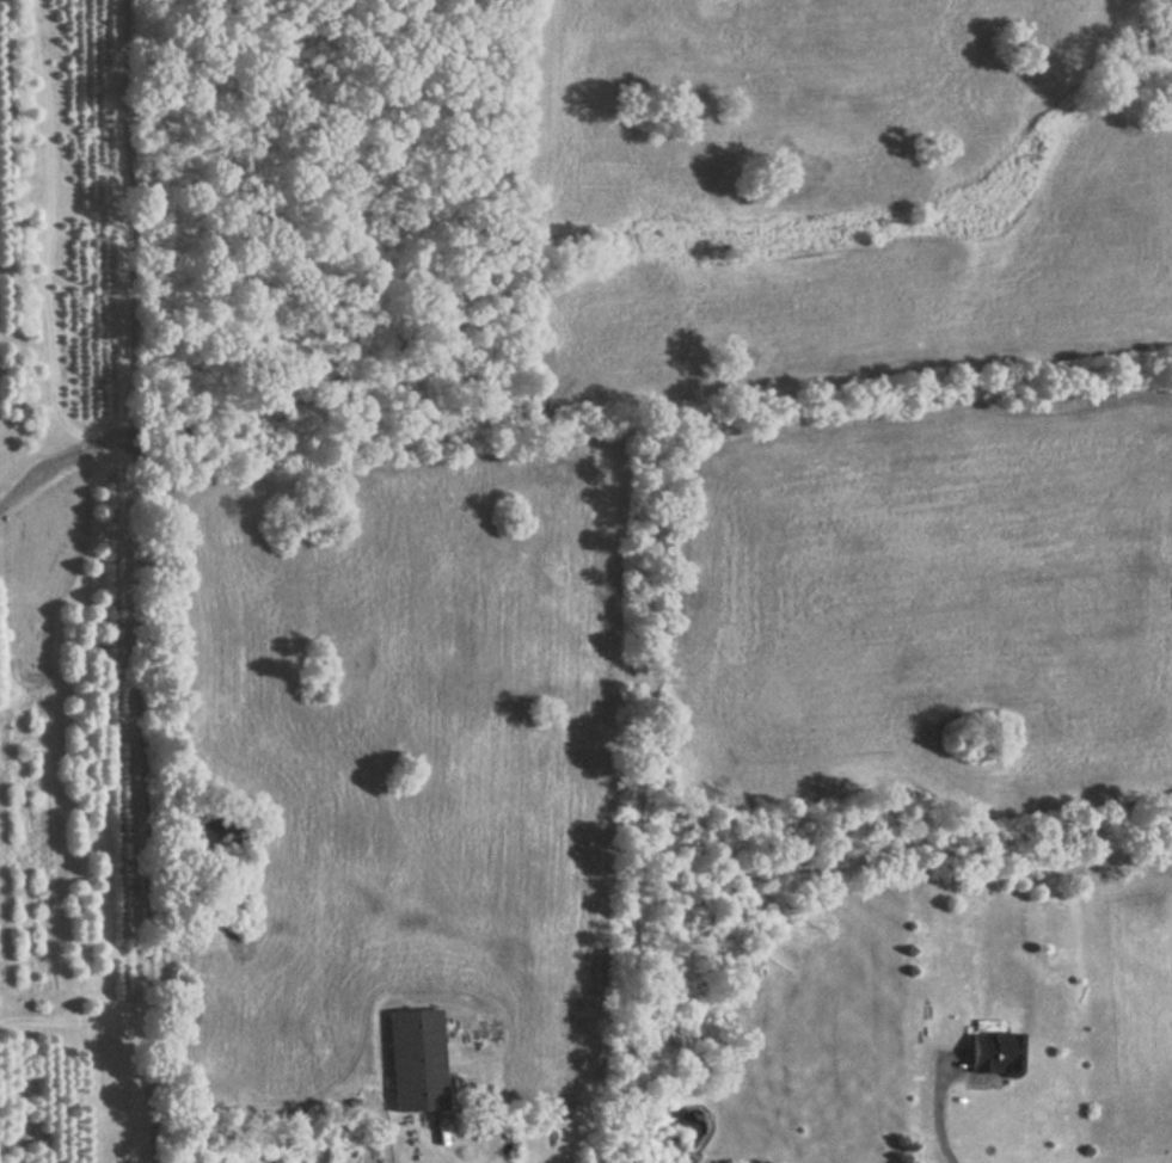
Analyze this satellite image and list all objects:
building: (995, 1052)
building: (416, 1060)
road: (937, 1121)

